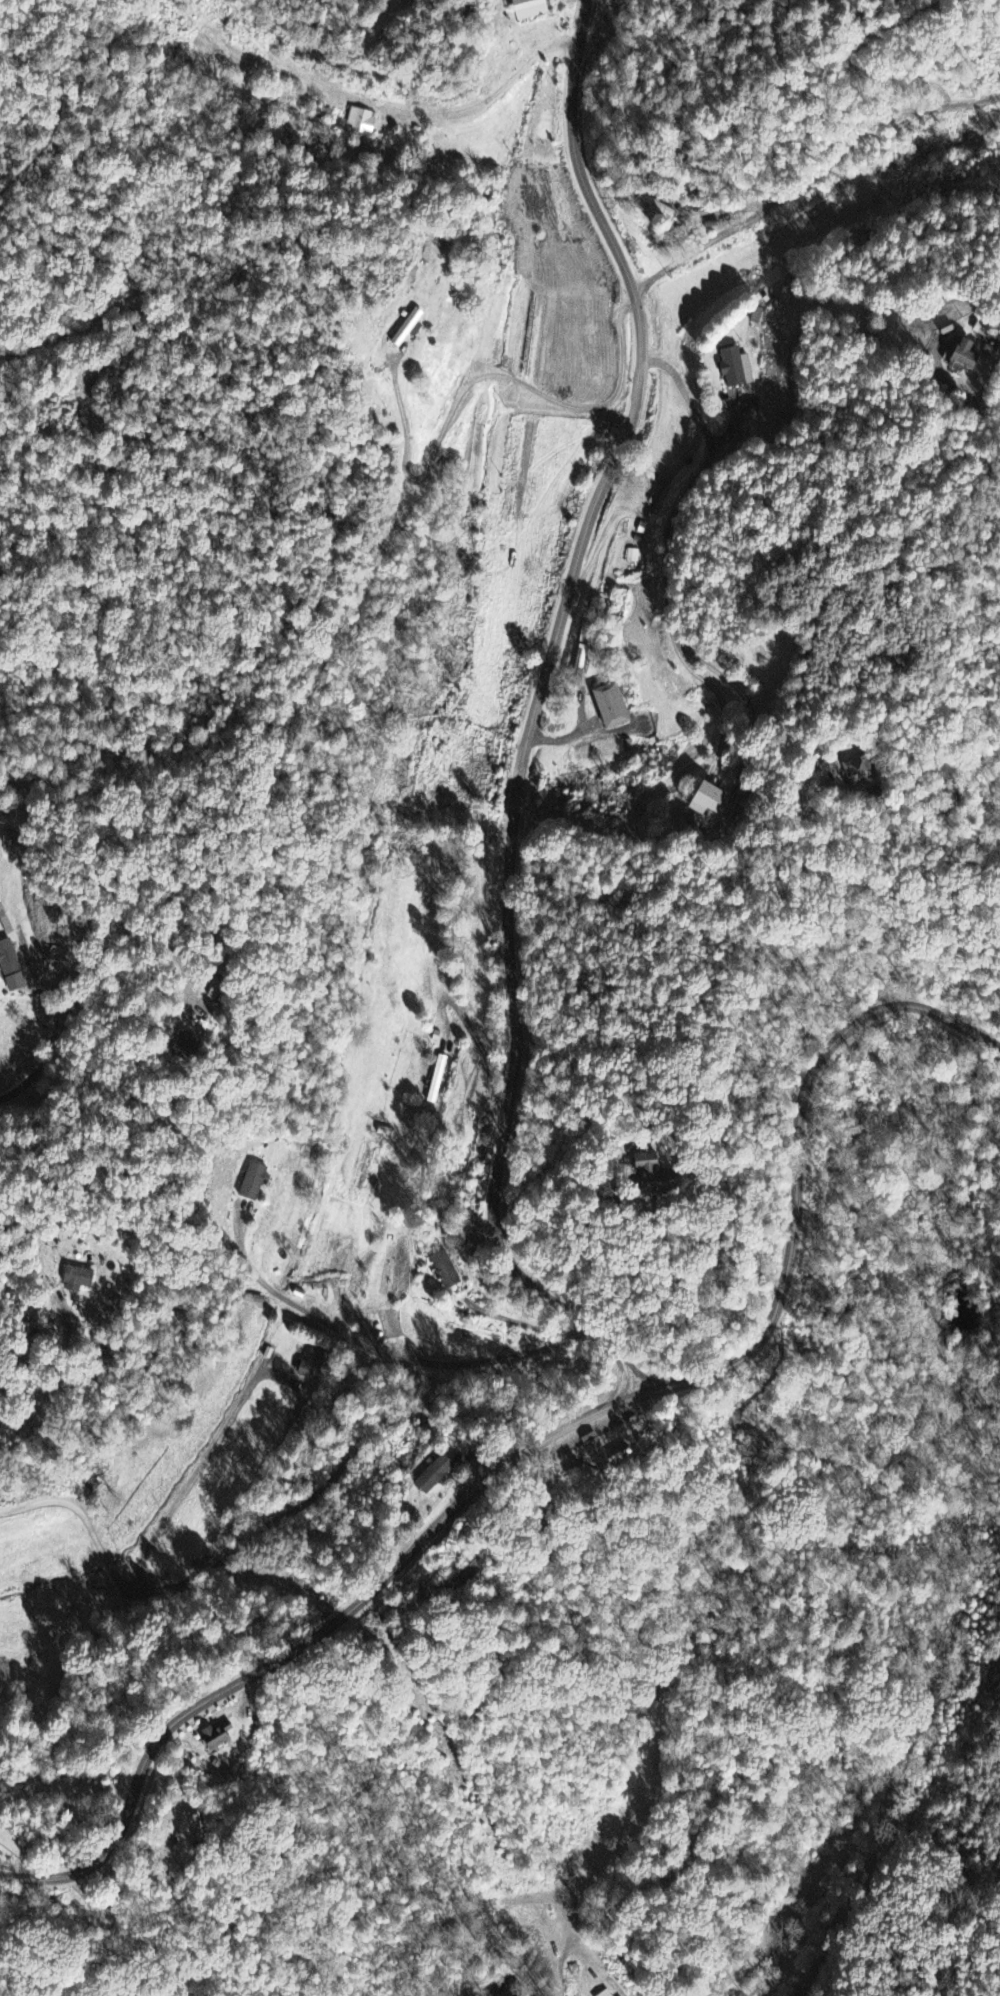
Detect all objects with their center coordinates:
building: (533, 9)
building: (360, 122)
road: (811, 176)
building: (411, 328)
building: (985, 332)
building: (966, 357)
building: (739, 369)
road: (476, 382)
road: (976, 404)
road: (738, 438)
road: (740, 697)
building: (611, 706)
road: (533, 713)
building: (858, 771)
building: (708, 801)
building: (12, 968)
road: (470, 1032)
building: (189, 1046)
building: (435, 1078)
building: (256, 1181)
building: (442, 1269)
building: (81, 1280)
road: (522, 1323)
road: (407, 1359)
building: (312, 1365)
road: (548, 1436)
building: (590, 1445)
building: (427, 1475)
road: (261, 1517)
building: (220, 1737)
building: (194, 1832)
building: (488, 1911)
building: (605, 1993)

